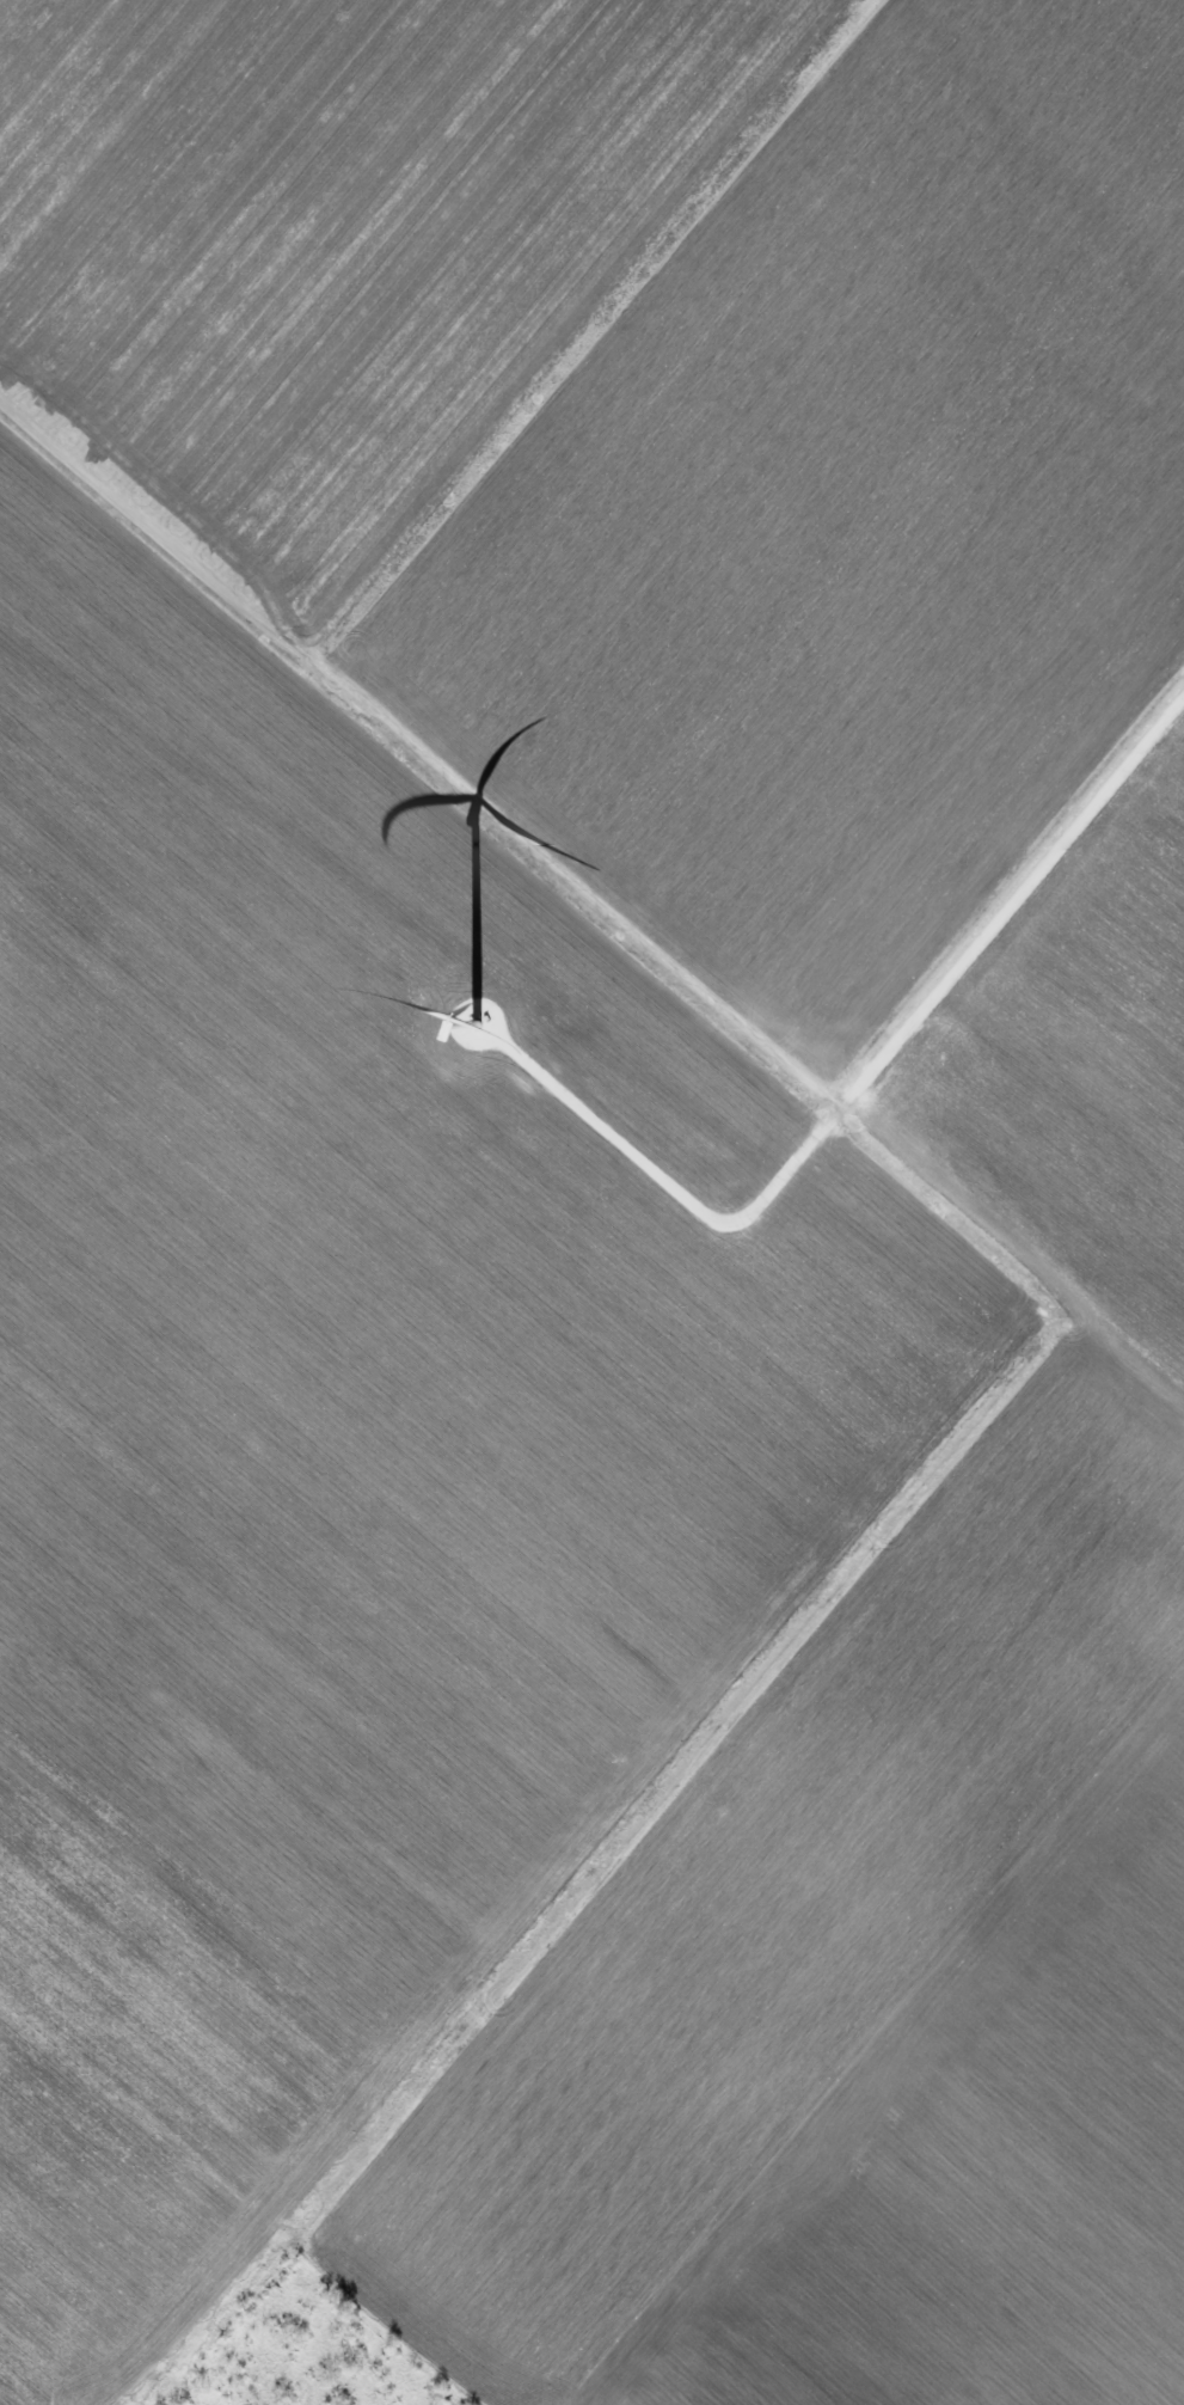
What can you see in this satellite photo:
wind turbine: (476, 1017)

